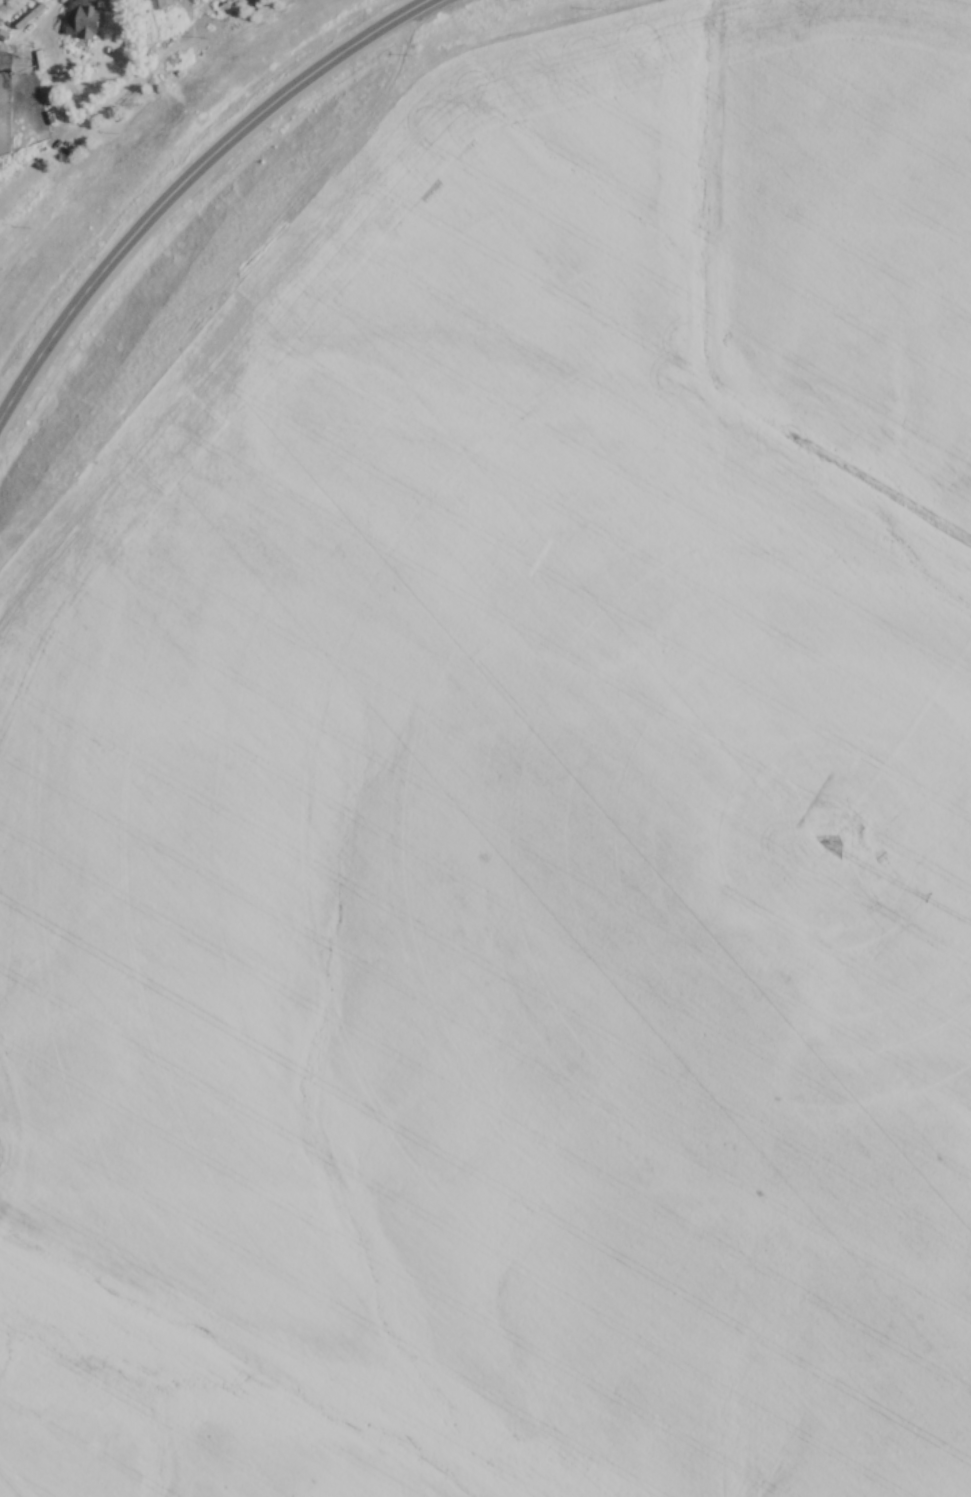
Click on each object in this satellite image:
building: (159, 3)
building: (88, 19)
road: (194, 189)

